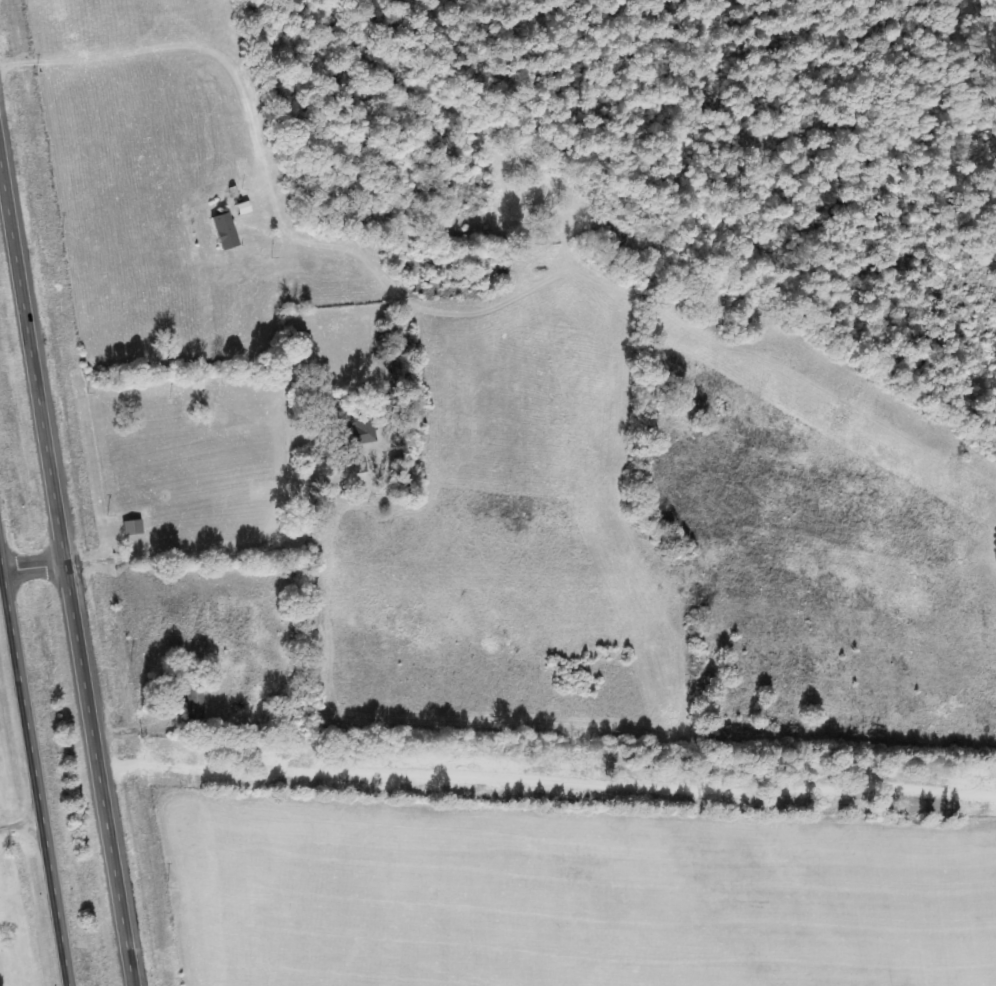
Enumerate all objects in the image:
building: (225, 230)
road: (181, 249)
building: (358, 432)
road: (72, 552)
building: (195, 704)
road: (39, 745)

